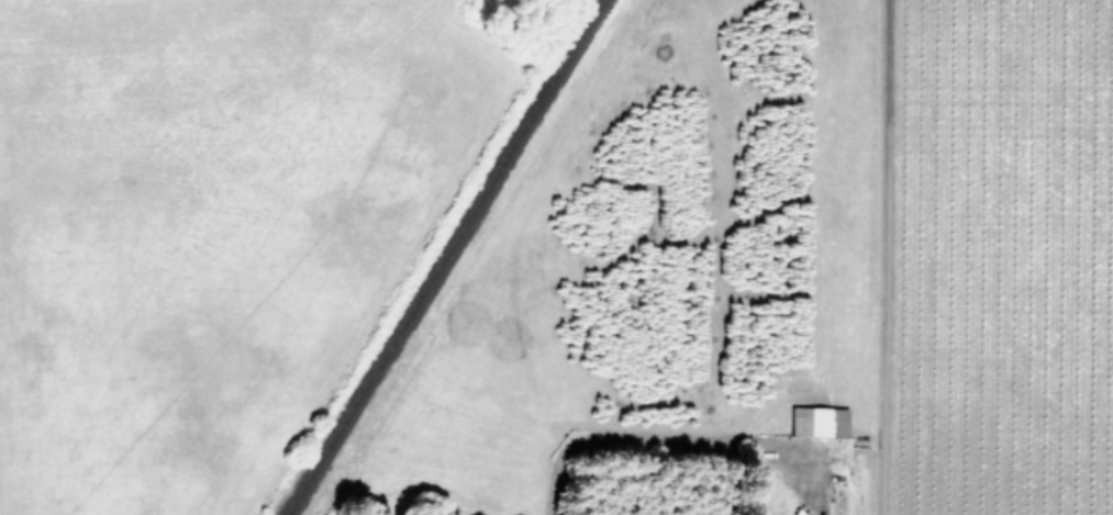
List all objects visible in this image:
crop: (567, 251)
railway: (442, 257)
crop: (53, 478)

